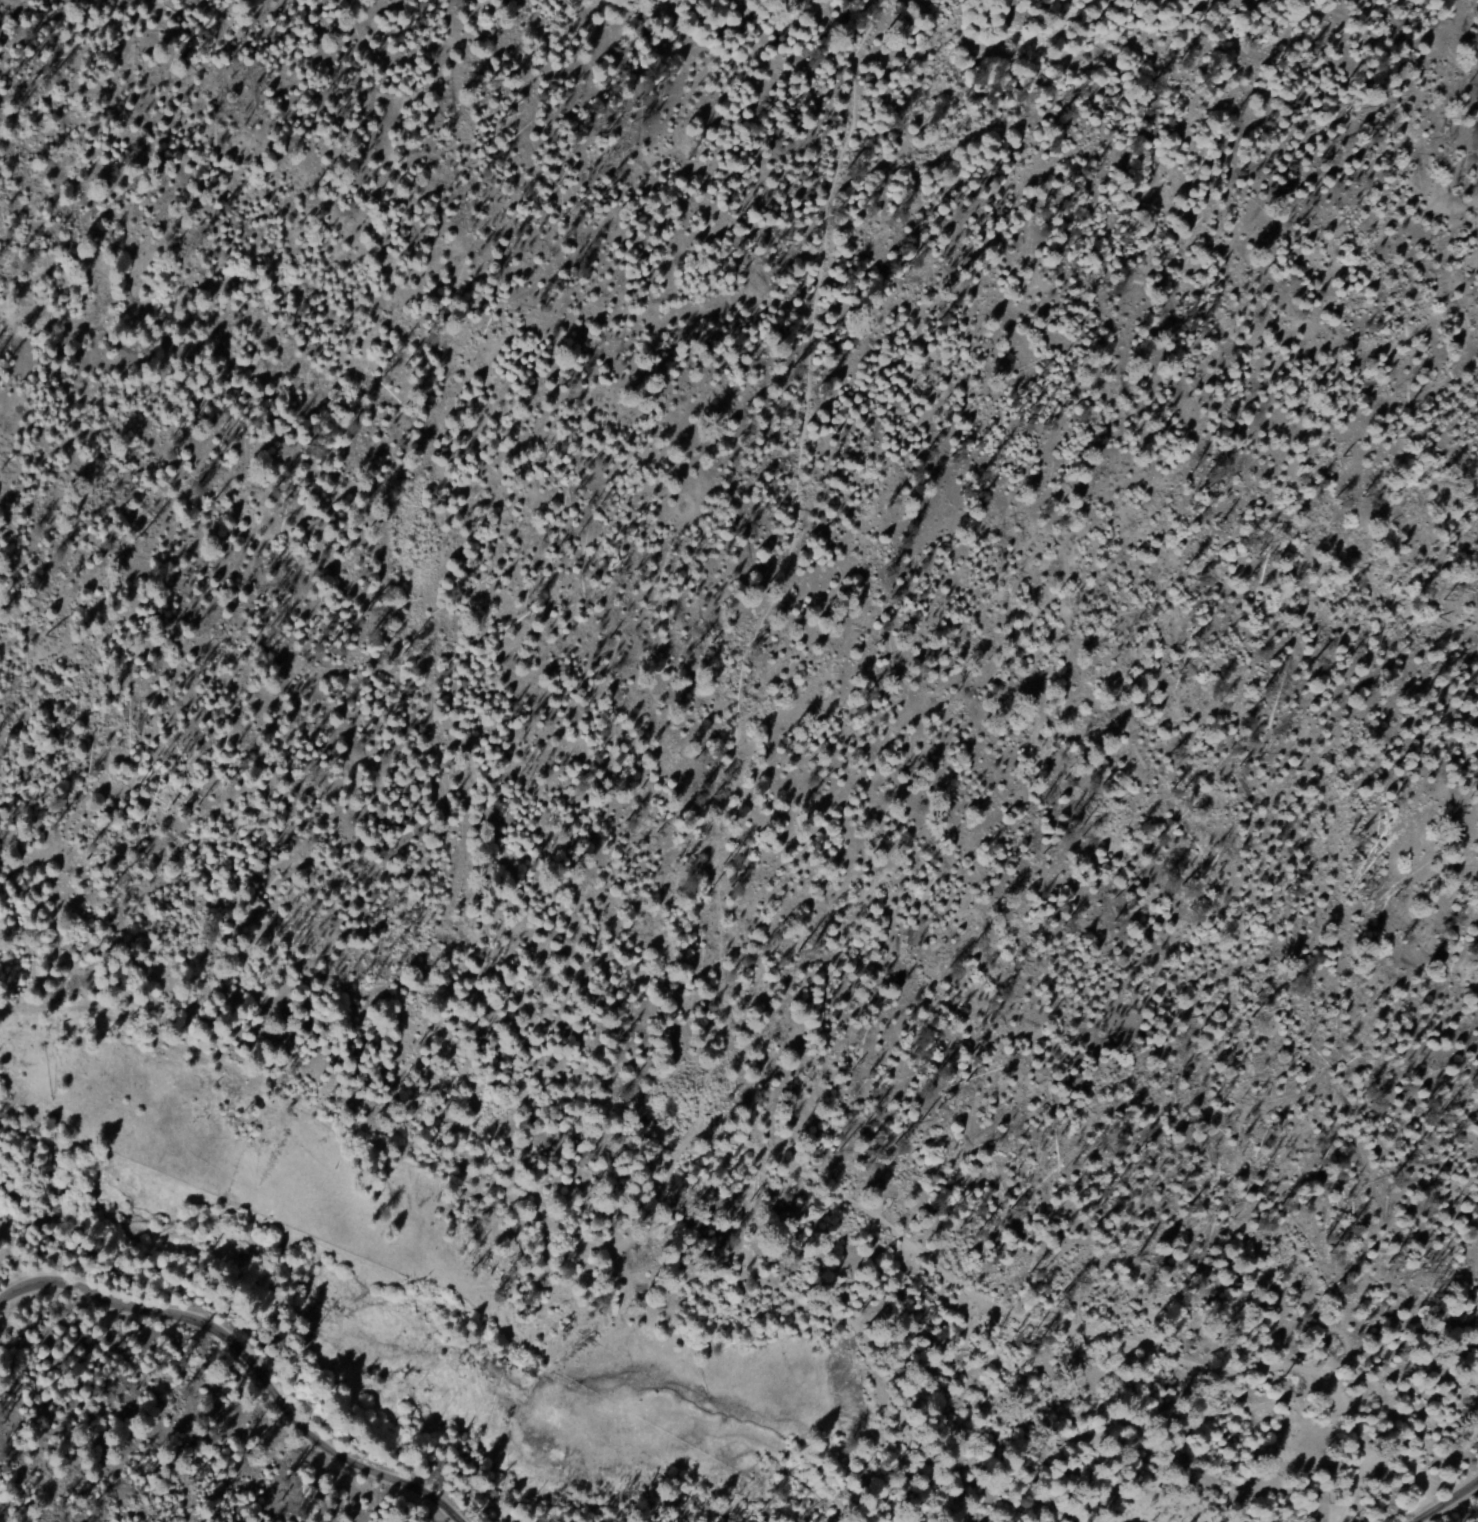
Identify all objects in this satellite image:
road: (23, 1288)
road: (257, 1380)
road: (1424, 1483)

